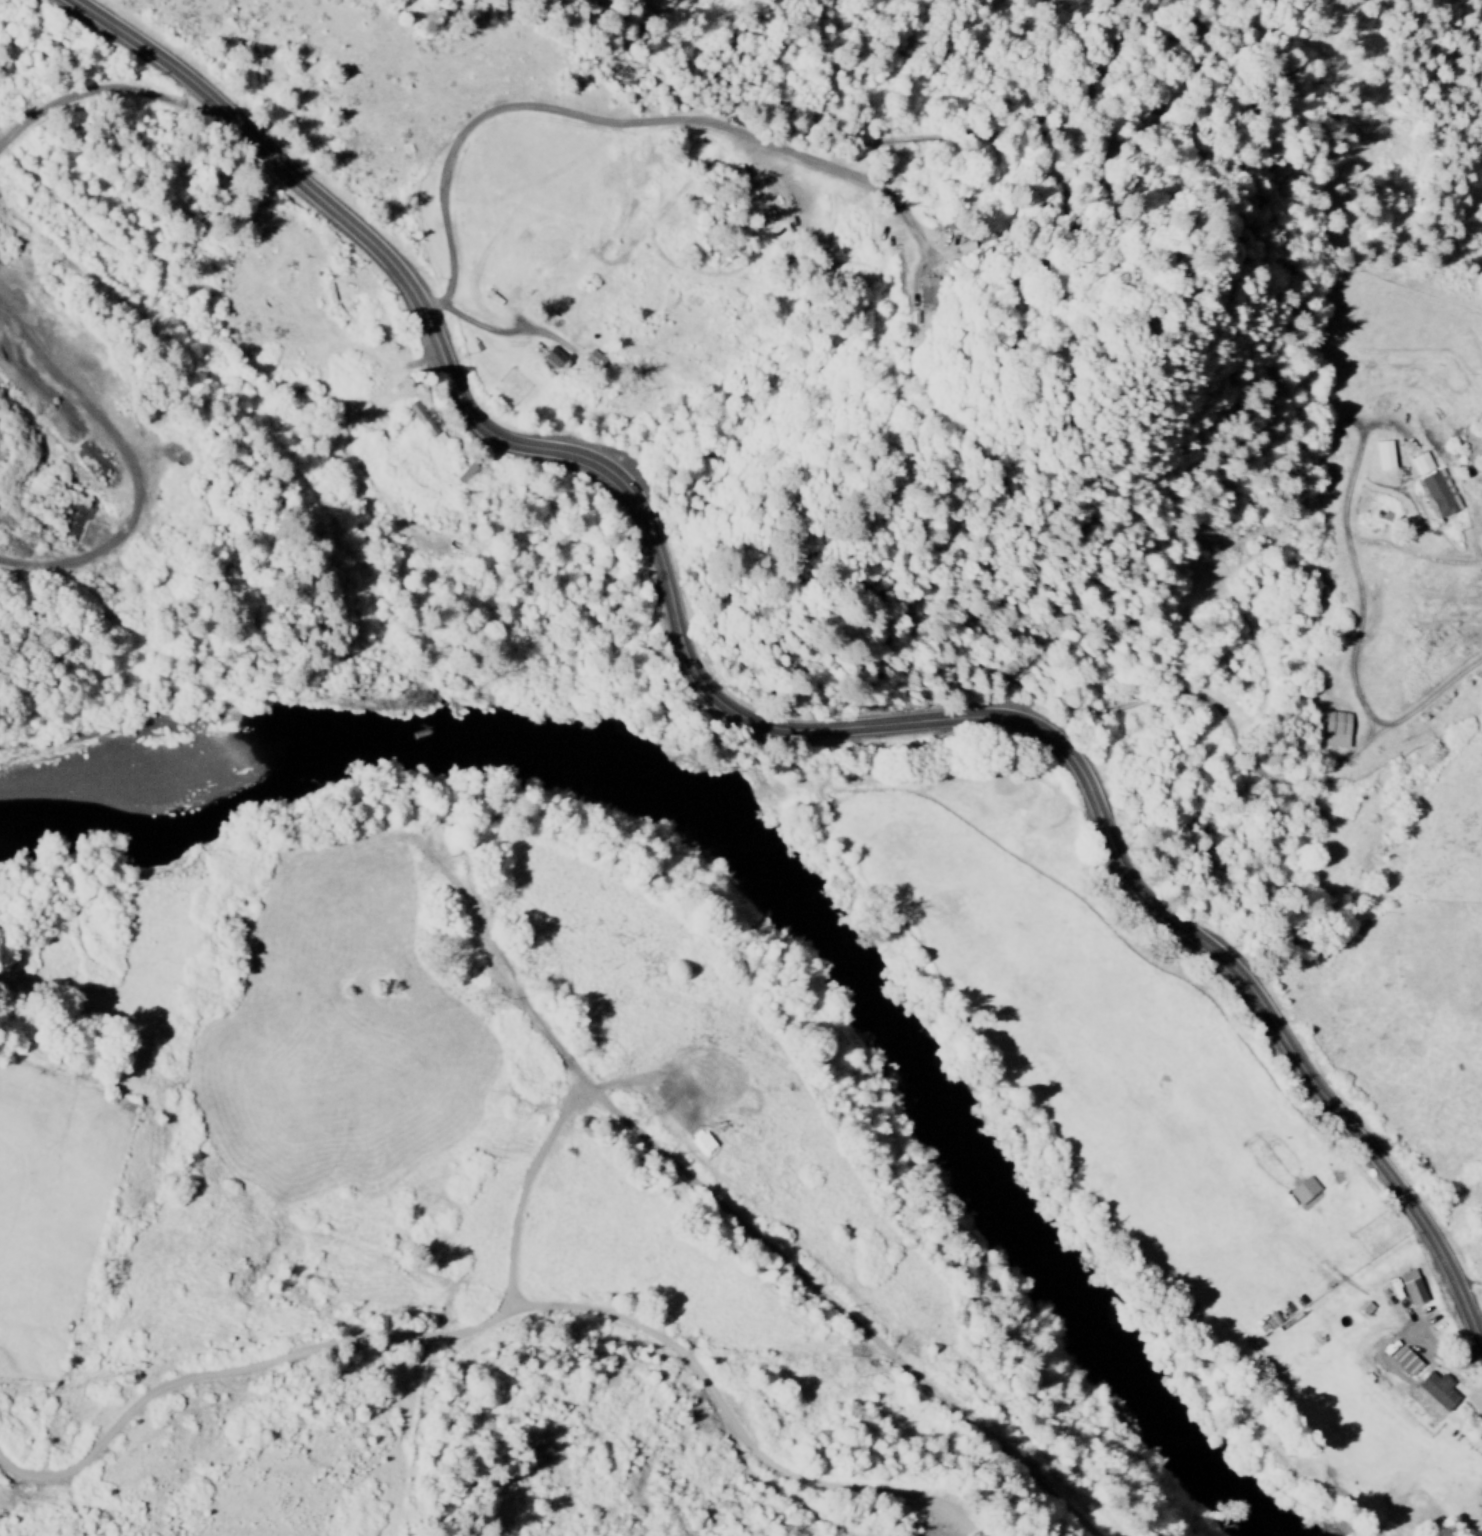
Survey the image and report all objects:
building: (764, 217)
building: (926, 291)
building: (553, 359)
building: (592, 360)
road: (96, 417)
building: (425, 421)
building: (1382, 455)
building: (1421, 463)
building: (462, 471)
railway: (284, 480)
building: (1436, 494)
building: (1334, 729)
road: (759, 730)
river: (780, 885)
road: (499, 968)
building: (1302, 1191)
building: (1411, 1288)
road: (835, 1310)
road: (656, 1336)
building: (1404, 1362)
road: (239, 1369)
building: (1436, 1391)

